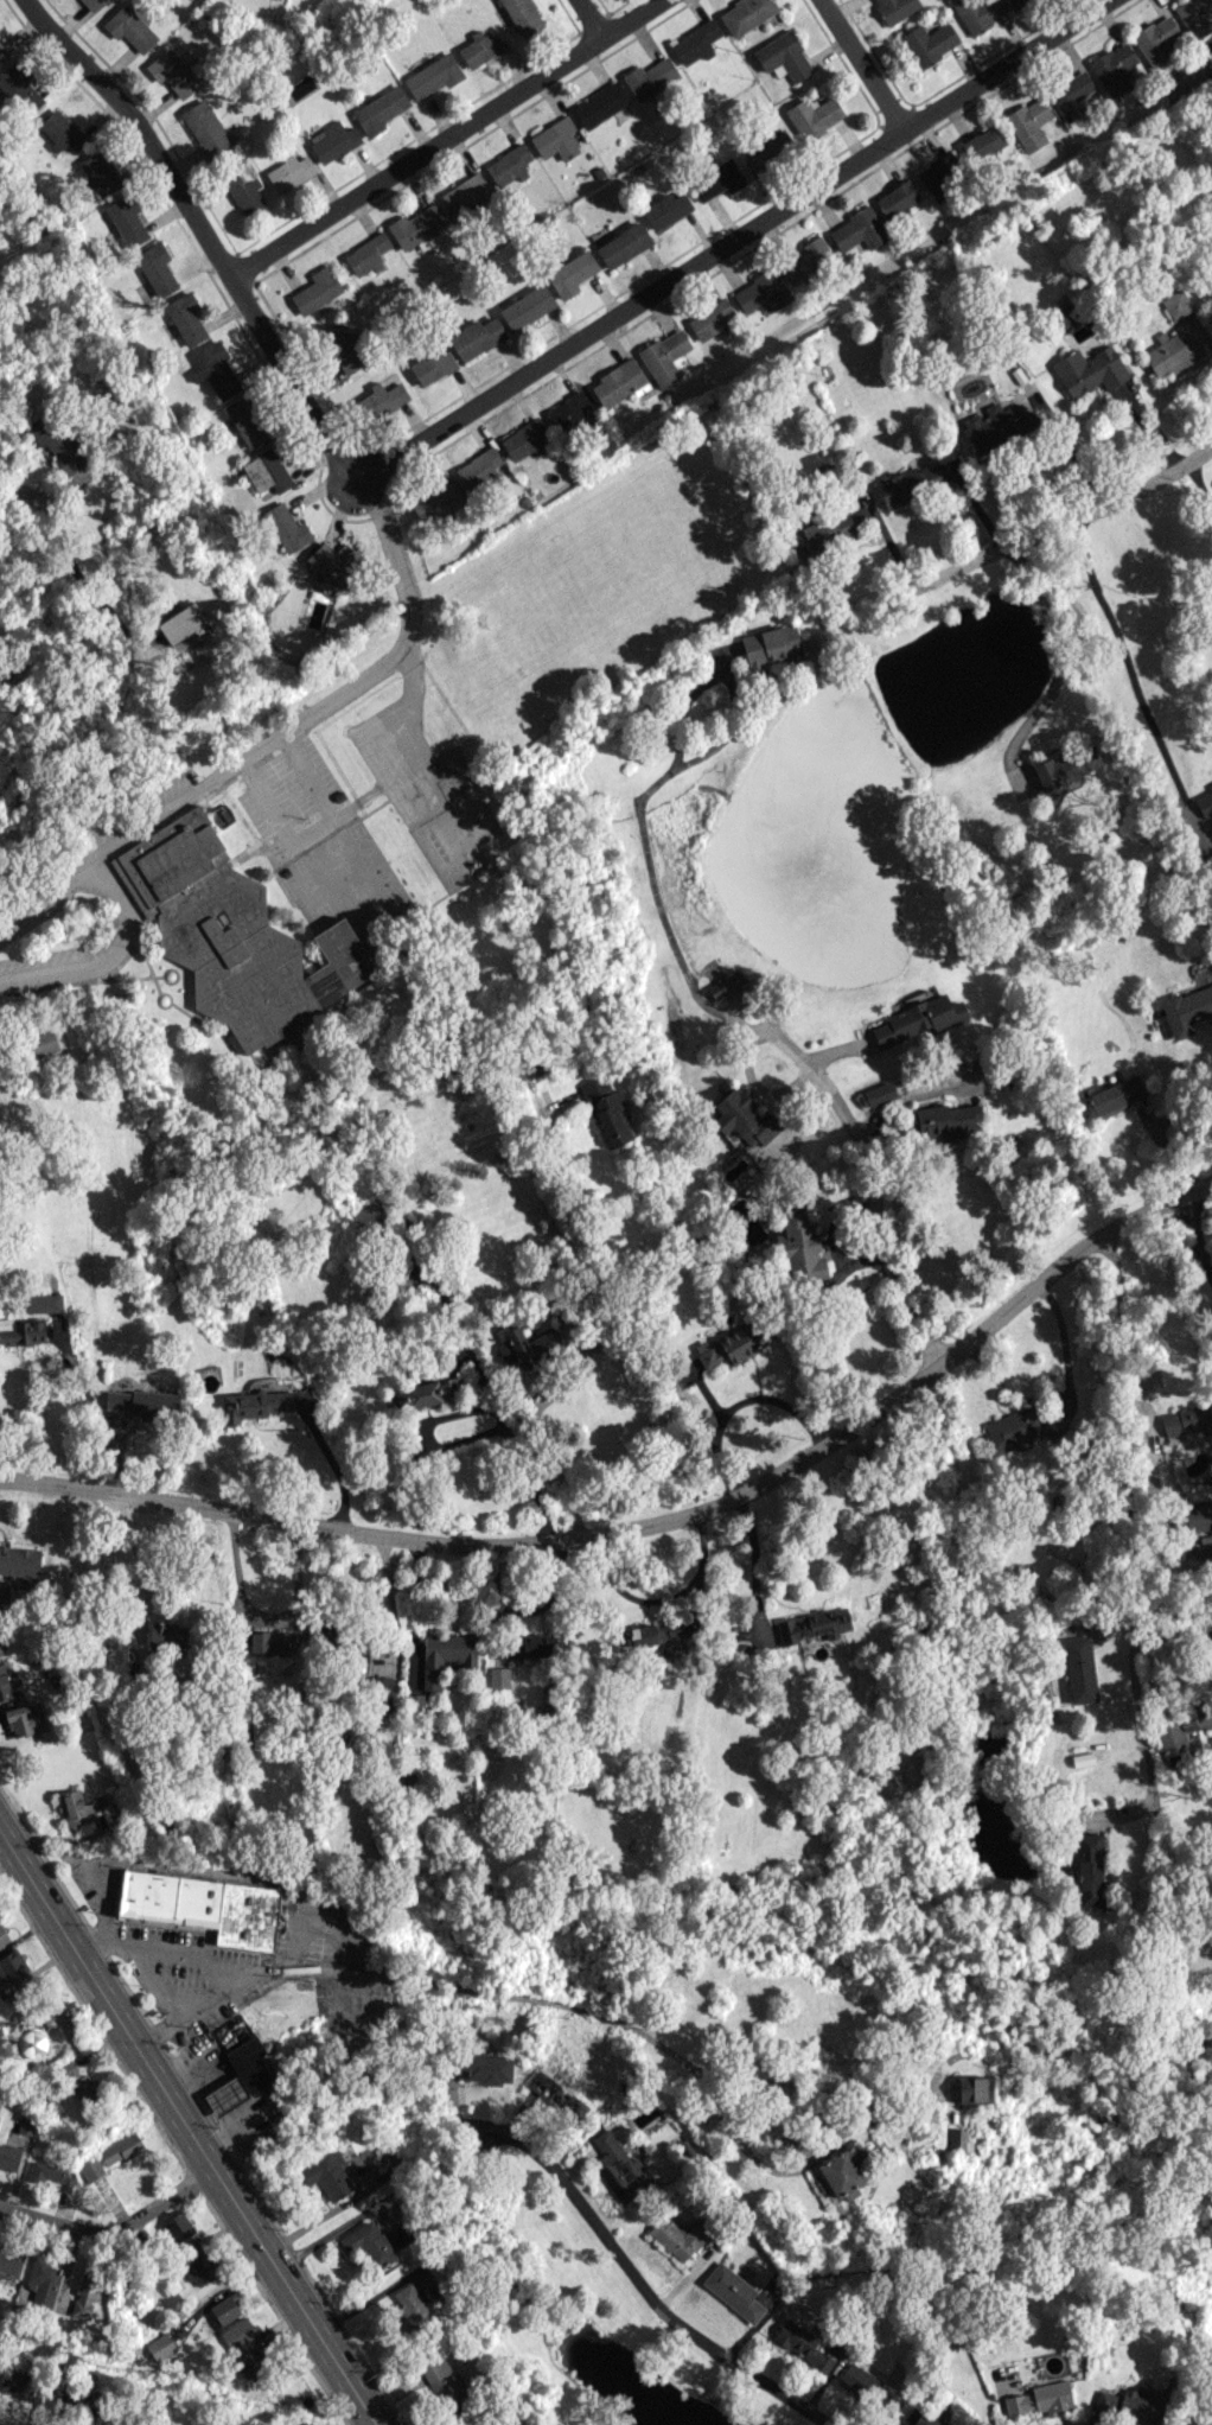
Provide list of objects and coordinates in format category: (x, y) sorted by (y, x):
building: (1012, 1)
building: (93, 4)
building: (895, 8)
building: (977, 12)
building: (745, 14)
building: (523, 15)
building: (1195, 17)
road: (580, 23)
building: (129, 27)
building: (1157, 39)
building: (695, 42)
building: (929, 43)
building: (480, 47)
building: (2, 53)
building: (783, 57)
road: (855, 65)
building: (1117, 69)
building: (172, 72)
building: (433, 75)
building: (649, 77)
building: (20, 89)
building: (1071, 95)
building: (599, 104)
building: (379, 110)
building: (814, 115)
building: (1028, 122)
building: (204, 127)
building: (63, 131)
road: (449, 135)
building: (556, 139)
building: (333, 140)
building: (982, 142)
building: (770, 149)
building: (508, 165)
building: (98, 171)
building: (938, 171)
building: (288, 172)
building: (717, 179)
building: (243, 192)
building: (465, 193)
building: (897, 198)
building: (665, 209)
building: (126, 219)
building: (416, 227)
building: (857, 230)
road: (211, 234)
road: (726, 240)
building: (623, 244)
building: (366, 254)
building: (805, 259)
building: (155, 268)
building: (570, 273)
building: (315, 289)
building: (761, 291)
building: (1175, 304)
building: (527, 306)
building: (185, 318)
building: (712, 319)
building: (476, 337)
building: (342, 348)
building: (1172, 354)
building: (664, 356)
building: (432, 365)
building: (213, 369)
building: (1089, 370)
building: (619, 382)
building: (381, 400)
building: (567, 410)
building: (245, 421)
building: (991, 424)
building: (525, 440)
building: (58, 448)
building: (479, 466)
building: (266, 471)
building: (911, 484)
road: (1199, 484)
road: (39, 492)
building: (435, 498)
road: (1064, 521)
building: (286, 527)
building: (823, 533)
building: (334, 561)
road: (87, 586)
road: (406, 604)
building: (181, 622)
building: (770, 647)
road: (1059, 668)
road: (1129, 669)
building: (1067, 765)
road: (204, 781)
building: (1205, 802)
road: (46, 884)
building: (231, 934)
road: (108, 954)
building: (726, 984)
building: (1186, 1010)
building: (917, 1019)
road: (732, 1021)
building: (43, 1042)
building: (876, 1094)
building: (1114, 1095)
building: (608, 1110)
building: (744, 1118)
building: (946, 1120)
road: (867, 1183)
building: (369, 1215)
road: (1191, 1242)
building: (800, 1248)
building: (403, 1281)
road: (1013, 1300)
building: (43, 1303)
building: (21, 1330)
road: (653, 1343)
building: (731, 1344)
building: (528, 1345)
building: (429, 1392)
road: (763, 1396)
building: (142, 1402)
building: (254, 1404)
road: (480, 1407)
road: (93, 1414)
building: (1186, 1419)
building: (1023, 1426)
road: (1125, 1437)
road: (556, 1465)
road: (338, 1474)
building: (1198, 1516)
road: (420, 1542)
road: (751, 1553)
building: (19, 1561)
building: (4, 1593)
road: (389, 1598)
road: (664, 1598)
road: (700, 1605)
road: (266, 1612)
building: (814, 1624)
road: (1172, 1632)
building: (167, 1635)
building: (655, 1635)
building: (270, 1642)
building: (530, 1644)
building: (1, 1649)
building: (361, 1653)
building: (445, 1654)
building: (1079, 1668)
building: (499, 1676)
building: (4, 1685)
building: (381, 1689)
building: (24, 1719)
road: (1141, 1720)
building: (1181, 1724)
building: (1082, 1758)
building: (490, 1775)
building: (75, 1807)
building: (1089, 1869)
building: (203, 1905)
building: (2, 1936)
building: (13, 1969)
road: (597, 2015)
building: (483, 2068)
building: (78, 2082)
building: (975, 2089)
building: (549, 2092)
building: (225, 2095)
building: (0, 2098)
road: (191, 2130)
building: (957, 2140)
building: (120, 2149)
building: (8, 2157)
building: (618, 2165)
building: (90, 2168)
building: (841, 2171)
building: (50, 2173)
building: (326, 2175)
road: (321, 2215)
road: (114, 2226)
building: (177, 2227)
building: (678, 2236)
building: (368, 2245)
road: (615, 2255)
building: (9, 2262)
building: (198, 2266)
building: (42, 2280)
building: (733, 2291)
building: (84, 2294)
building: (225, 2309)
building: (410, 2309)
building: (237, 2332)
building: (802, 2344)
building: (160, 2346)
building: (253, 2360)
building: (442, 2381)
building: (21, 2385)
building: (867, 2386)
building: (1041, 2398)
building: (83, 2400)
building: (1129, 2406)
building: (919, 2418)
building: (505, 2423)
building: (1189, 2423)

